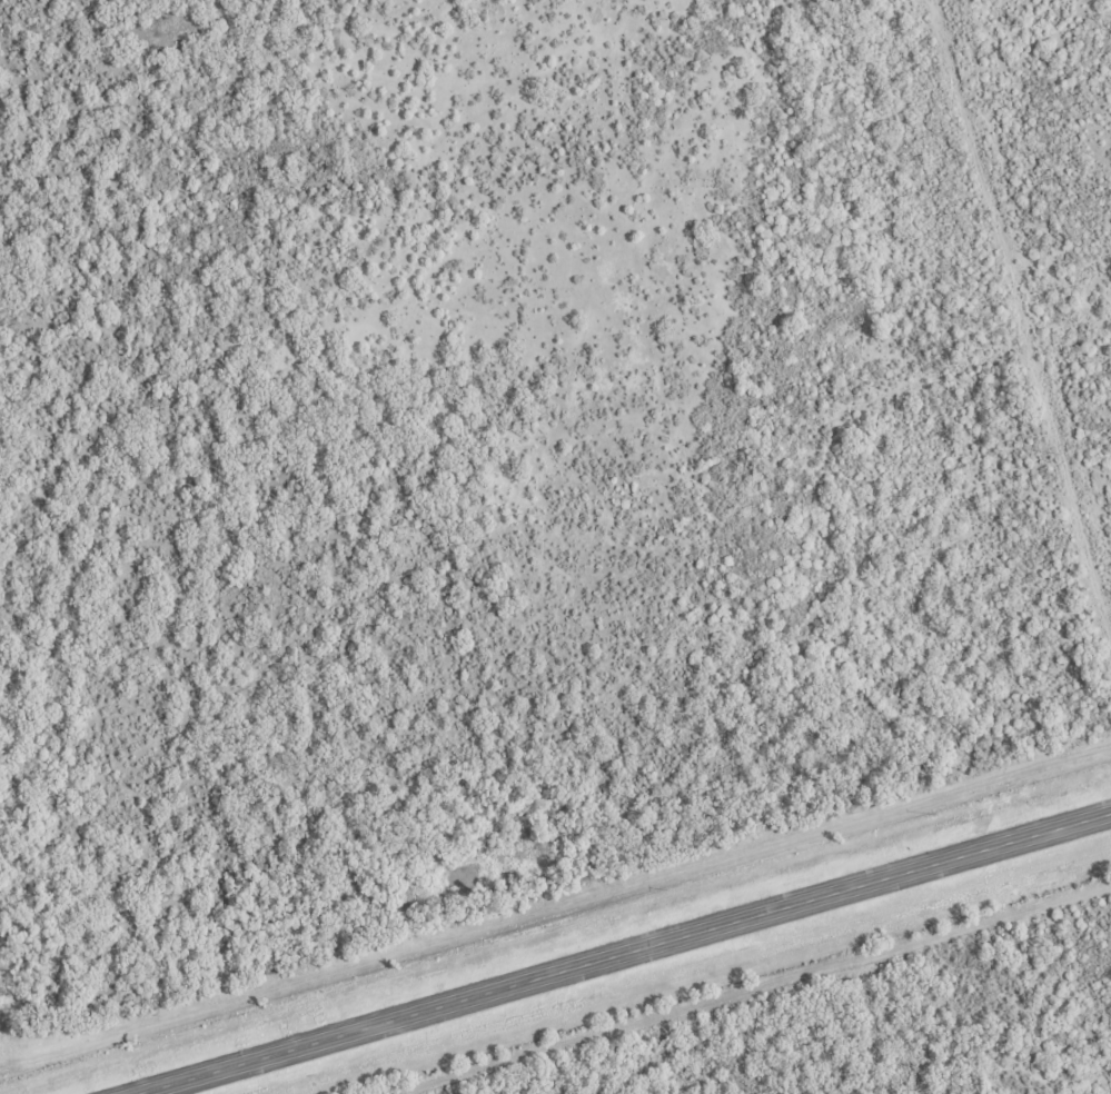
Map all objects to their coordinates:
road: (628, 954)

